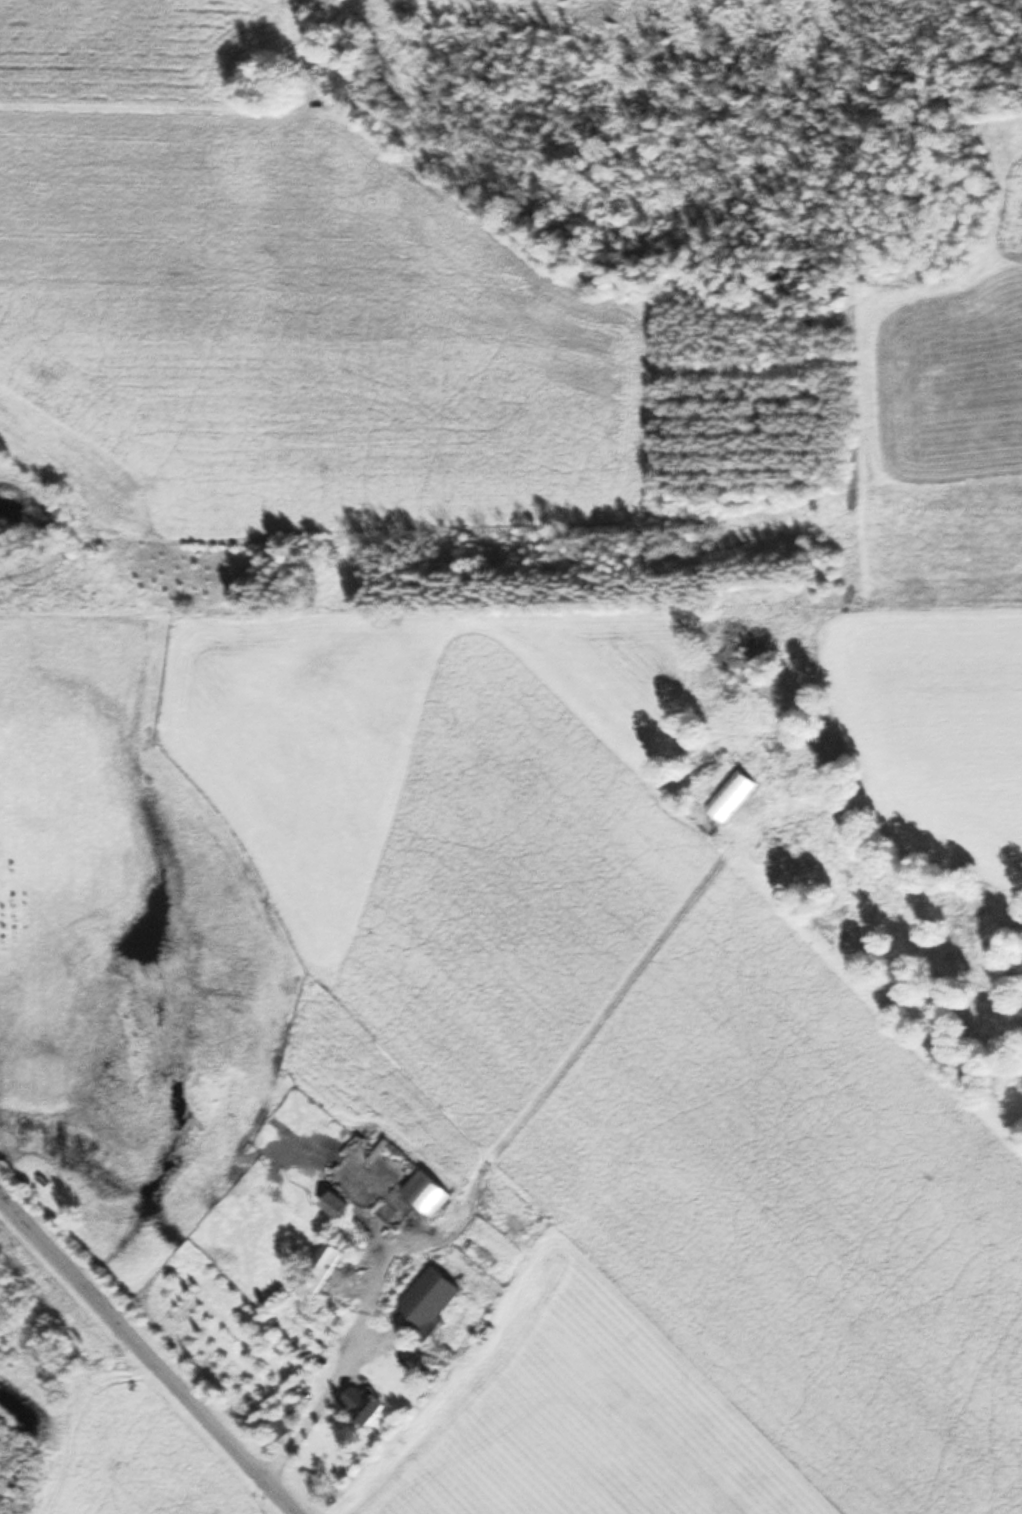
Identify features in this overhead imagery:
building: (408, 1192)
building: (335, 1204)
building: (323, 1265)
building: (430, 1297)
road: (145, 1358)
building: (363, 1402)
building: (276, 1426)

